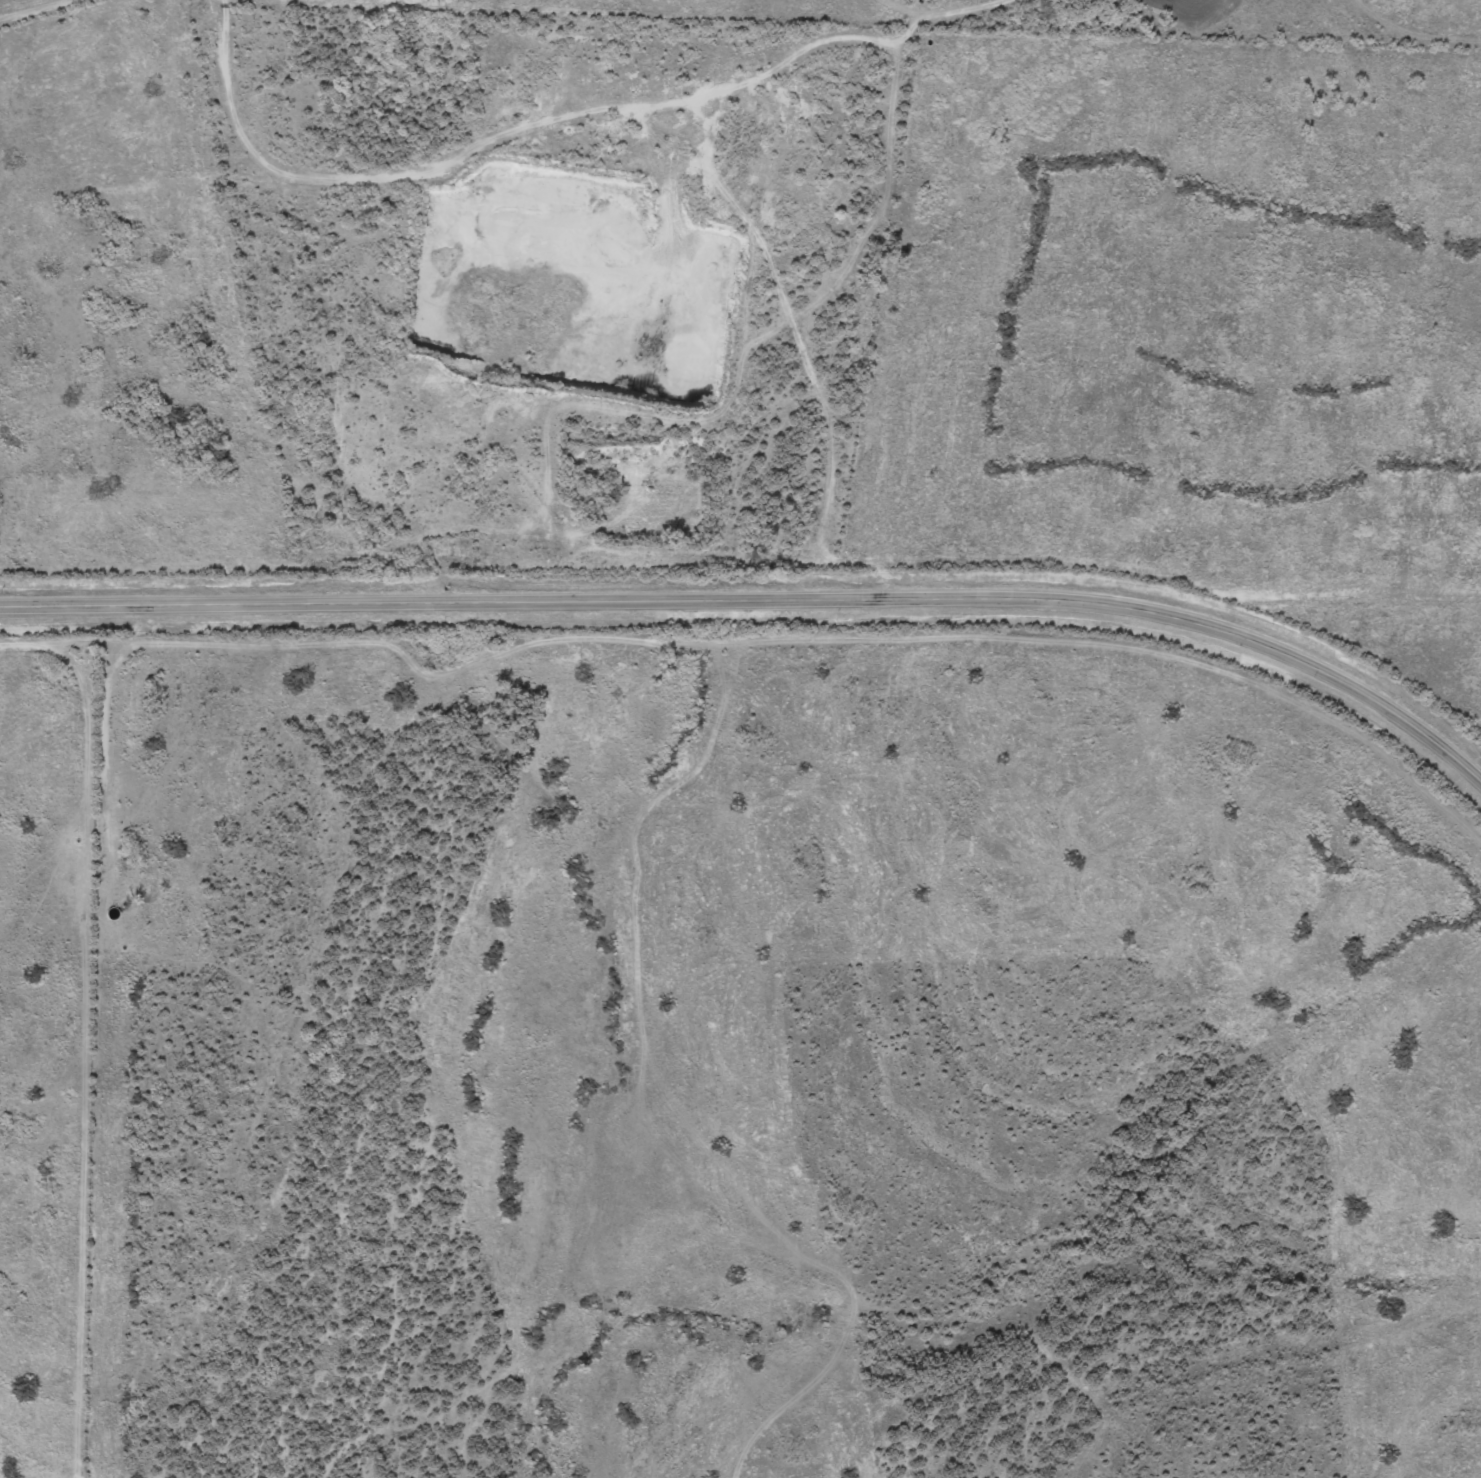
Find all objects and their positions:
road: (763, 603)

